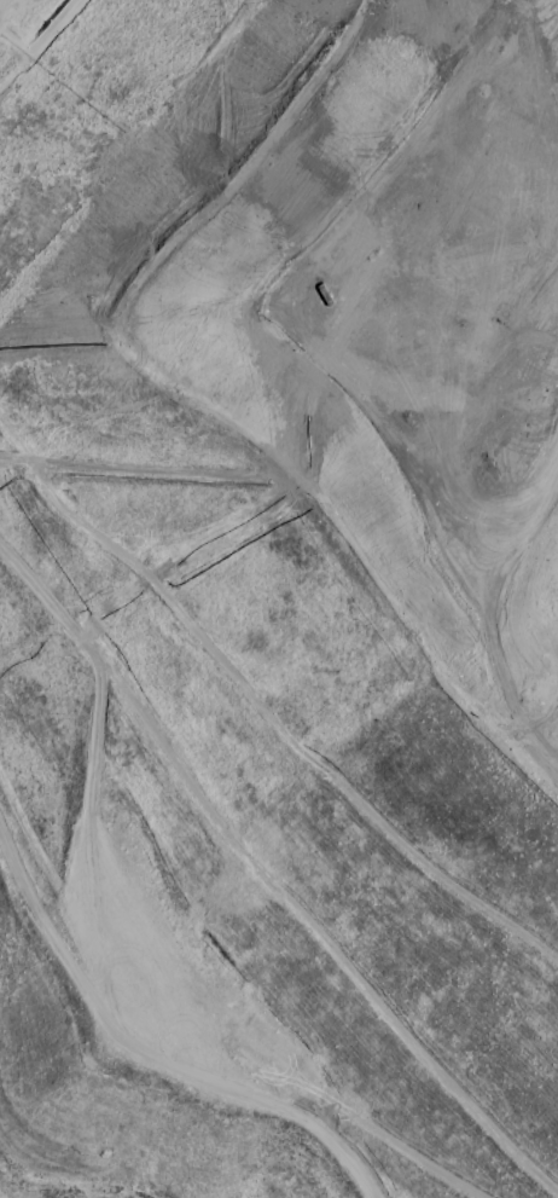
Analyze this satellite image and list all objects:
landfill: (279, 598)

